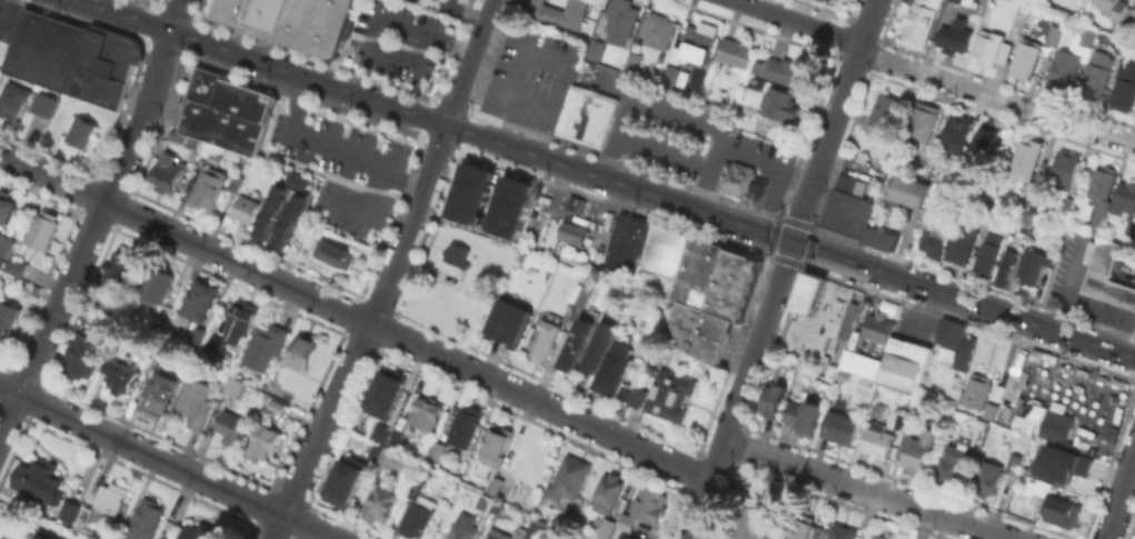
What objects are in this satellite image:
building: (828, 0)
building: (959, 0)
road: (467, 7)
building: (1113, 7)
building: (561, 11)
building: (1132, 18)
building: (287, 19)
building: (922, 19)
building: (621, 20)
road: (377, 21)
building: (660, 29)
building: (1086, 33)
building: (1054, 34)
building: (956, 36)
building: (698, 42)
building: (988, 46)
building: (600, 50)
road: (536, 51)
building: (736, 52)
building: (71, 56)
building: (1026, 57)
building: (673, 60)
building: (633, 61)
building: (1065, 68)
building: (790, 70)
building: (671, 73)
building: (1096, 73)
road: (934, 74)
building: (1125, 87)
building: (13, 98)
building: (44, 102)
building: (779, 102)
building: (225, 109)
building: (883, 112)
building: (727, 113)
building: (589, 119)
road: (832, 120)
road: (435, 121)
building: (924, 121)
building: (82, 130)
building: (957, 132)
building: (175, 134)
road: (313, 140)
road: (639, 143)
building: (983, 151)
road: (127, 153)
road: (747, 156)
building: (1027, 164)
building: (1065, 169)
building: (168, 173)
road: (384, 173)
building: (738, 177)
building: (298, 181)
building: (236, 182)
road: (794, 183)
building: (209, 187)
building: (908, 191)
building: (1102, 191)
building: (489, 197)
building: (1125, 198)
building: (574, 202)
building: (1065, 204)
building: (7, 206)
building: (246, 208)
building: (836, 208)
building: (272, 211)
building: (978, 213)
building: (858, 216)
building: (290, 220)
building: (1131, 226)
building: (44, 228)
building: (568, 232)
building: (879, 238)
building: (624, 242)
traffic signals: (791, 242)
building: (932, 242)
building: (963, 242)
building: (3, 243)
building: (337, 252)
building: (988, 253)
building: (458, 254)
road: (397, 261)
building: (1034, 263)
building: (18, 267)
building: (122, 267)
building: (1000, 268)
building: (1105, 277)
building: (159, 281)
building: (24, 286)
building: (694, 289)
building: (809, 291)
building: (199, 299)
road: (963, 300)
building: (435, 301)
building: (884, 307)
building: (93, 310)
building: (8, 316)
road: (354, 316)
building: (240, 319)
building: (509, 323)
building: (876, 326)
building: (950, 332)
building: (199, 336)
building: (546, 338)
building: (578, 341)
building: (215, 345)
building: (266, 345)
building: (600, 345)
road: (38, 348)
building: (167, 348)
building: (303, 351)
building: (965, 351)
building: (86, 355)
building: (894, 366)
building: (613, 368)
building: (121, 375)
building: (236, 386)
road: (739, 390)
building: (976, 390)
building: (161, 391)
building: (997, 391)
building: (387, 393)
building: (633, 393)
building: (669, 393)
building: (775, 400)
building: (197, 401)
building: (279, 407)
building: (990, 409)
road: (8, 411)
building: (426, 416)
building: (805, 417)
building: (903, 421)
building: (1057, 423)
building: (913, 425)
building: (231, 426)
building: (461, 426)
building: (842, 426)
building: (381, 433)
building: (265, 439)
building: (396, 439)
building: (876, 440)
building: (496, 443)
building: (438, 448)
road: (140, 450)
building: (376, 451)
building: (918, 451)
building: (395, 459)
building: (1014, 460)
building: (952, 466)
building: (1065, 467)
building: (987, 477)
building: (40, 479)
building: (570, 479)
building: (345, 483)
building: (495, 483)
building: (1039, 486)
building: (417, 488)
building: (1032, 488)
road: (866, 490)
building: (608, 491)
road: (1119, 496)
building: (111, 501)
building: (382, 501)
building: (650, 503)
building: (496, 506)
building: (66, 511)
building: (1064, 513)
building: (418, 516)
building: (81, 519)
building: (147, 519)
building: (757, 520)
building: (628, 521)
road: (277, 527)
road: (307, 527)
building: (462, 527)
building: (607, 527)
building: (808, 528)
building: (535, 530)
building: (201, 531)
building: (843, 531)
building: (506, 533)
building: (120, 535)
building: (39, 536)
building: (626, 536)
building: (880, 536)
building: (600, 537)
building: (158, 538)
building: (583, 538)
building: (587, 538)

